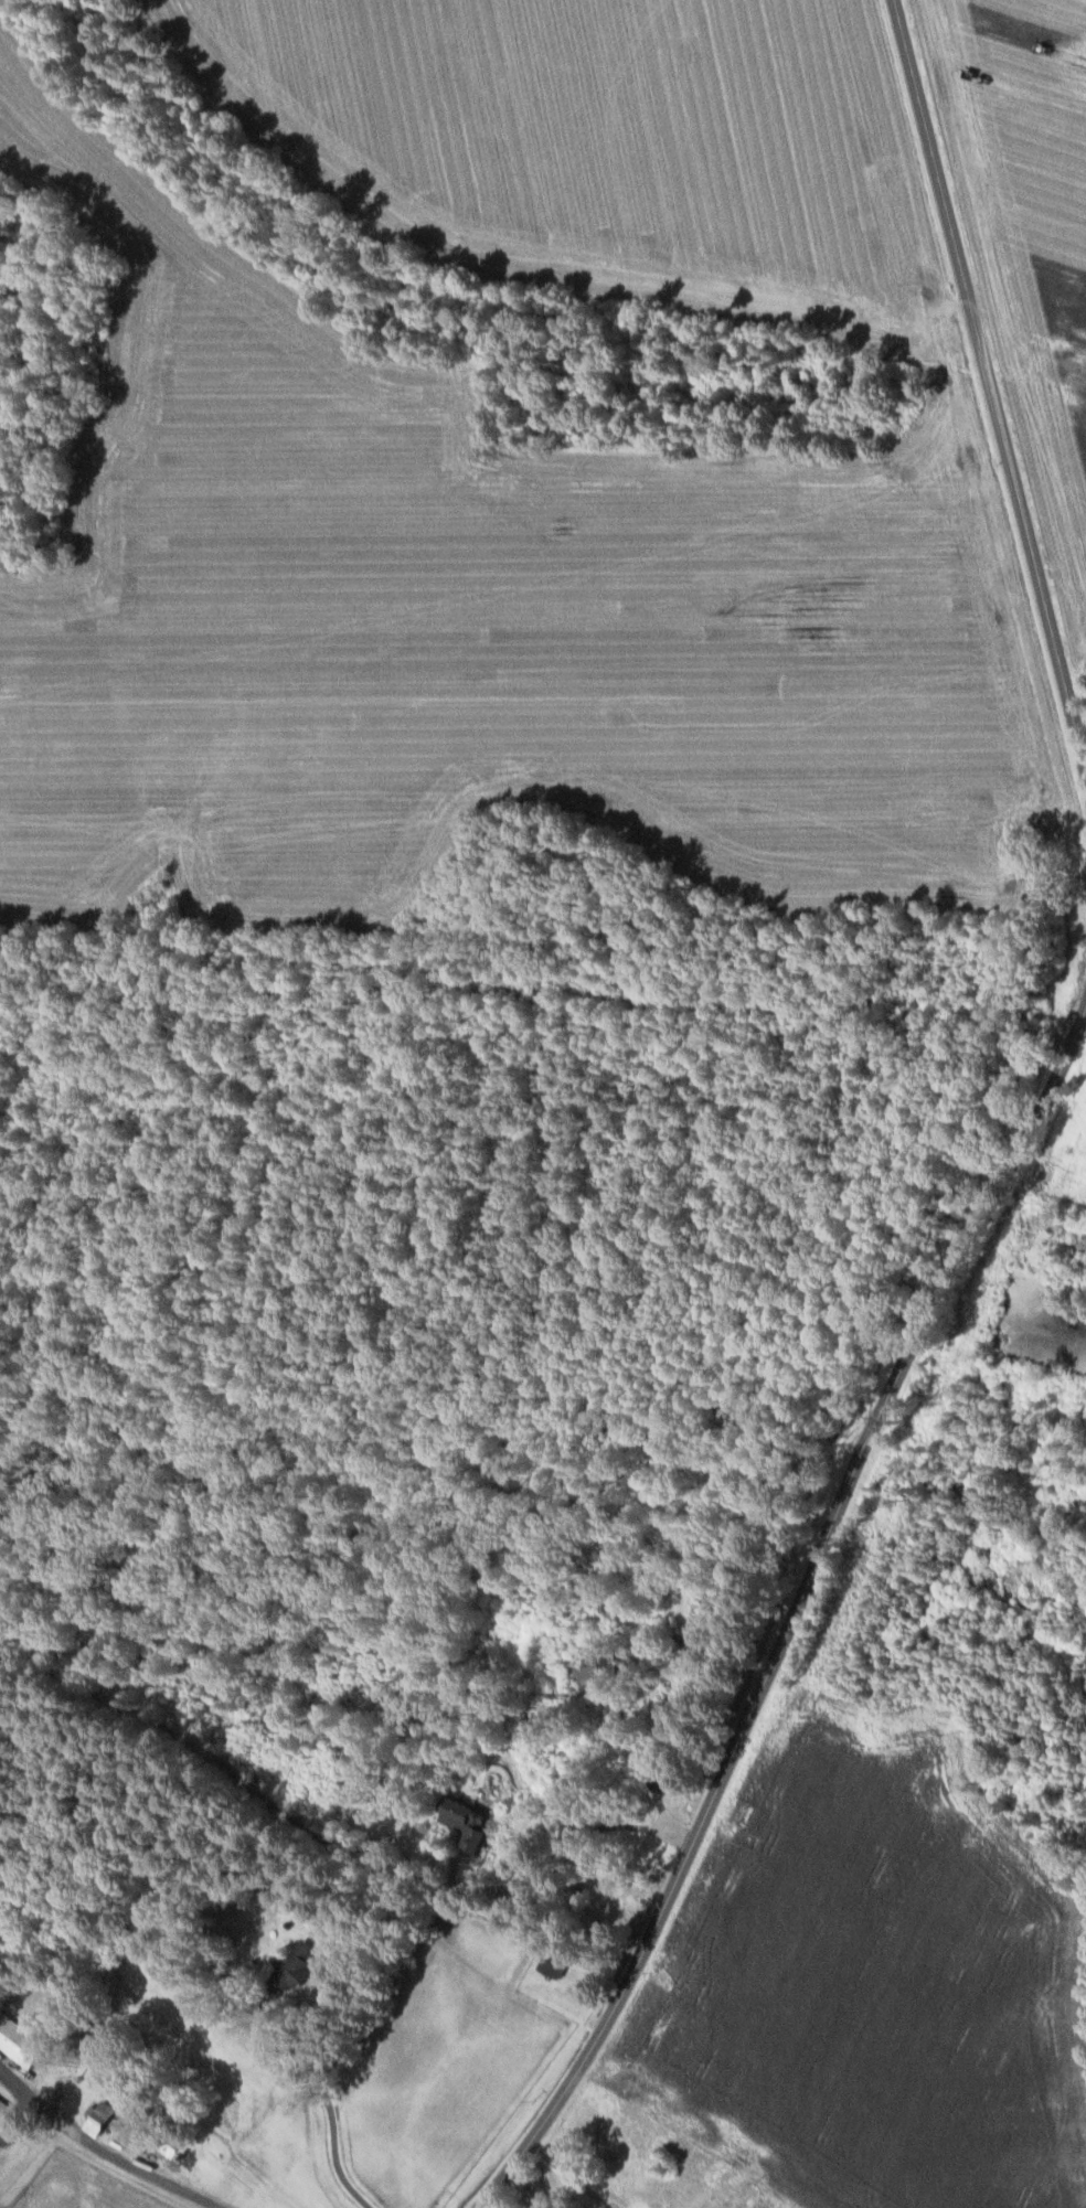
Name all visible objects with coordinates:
road: (989, 382)
road: (794, 1613)
building: (605, 1663)
building: (471, 1821)
building: (300, 1964)
building: (555, 1966)
building: (21, 2041)
building: (2, 2051)
road: (13, 2080)
building: (4, 2108)
road: (19, 2116)
building: (103, 2118)
road: (121, 2158)
road: (569, 2176)
road: (499, 2202)

